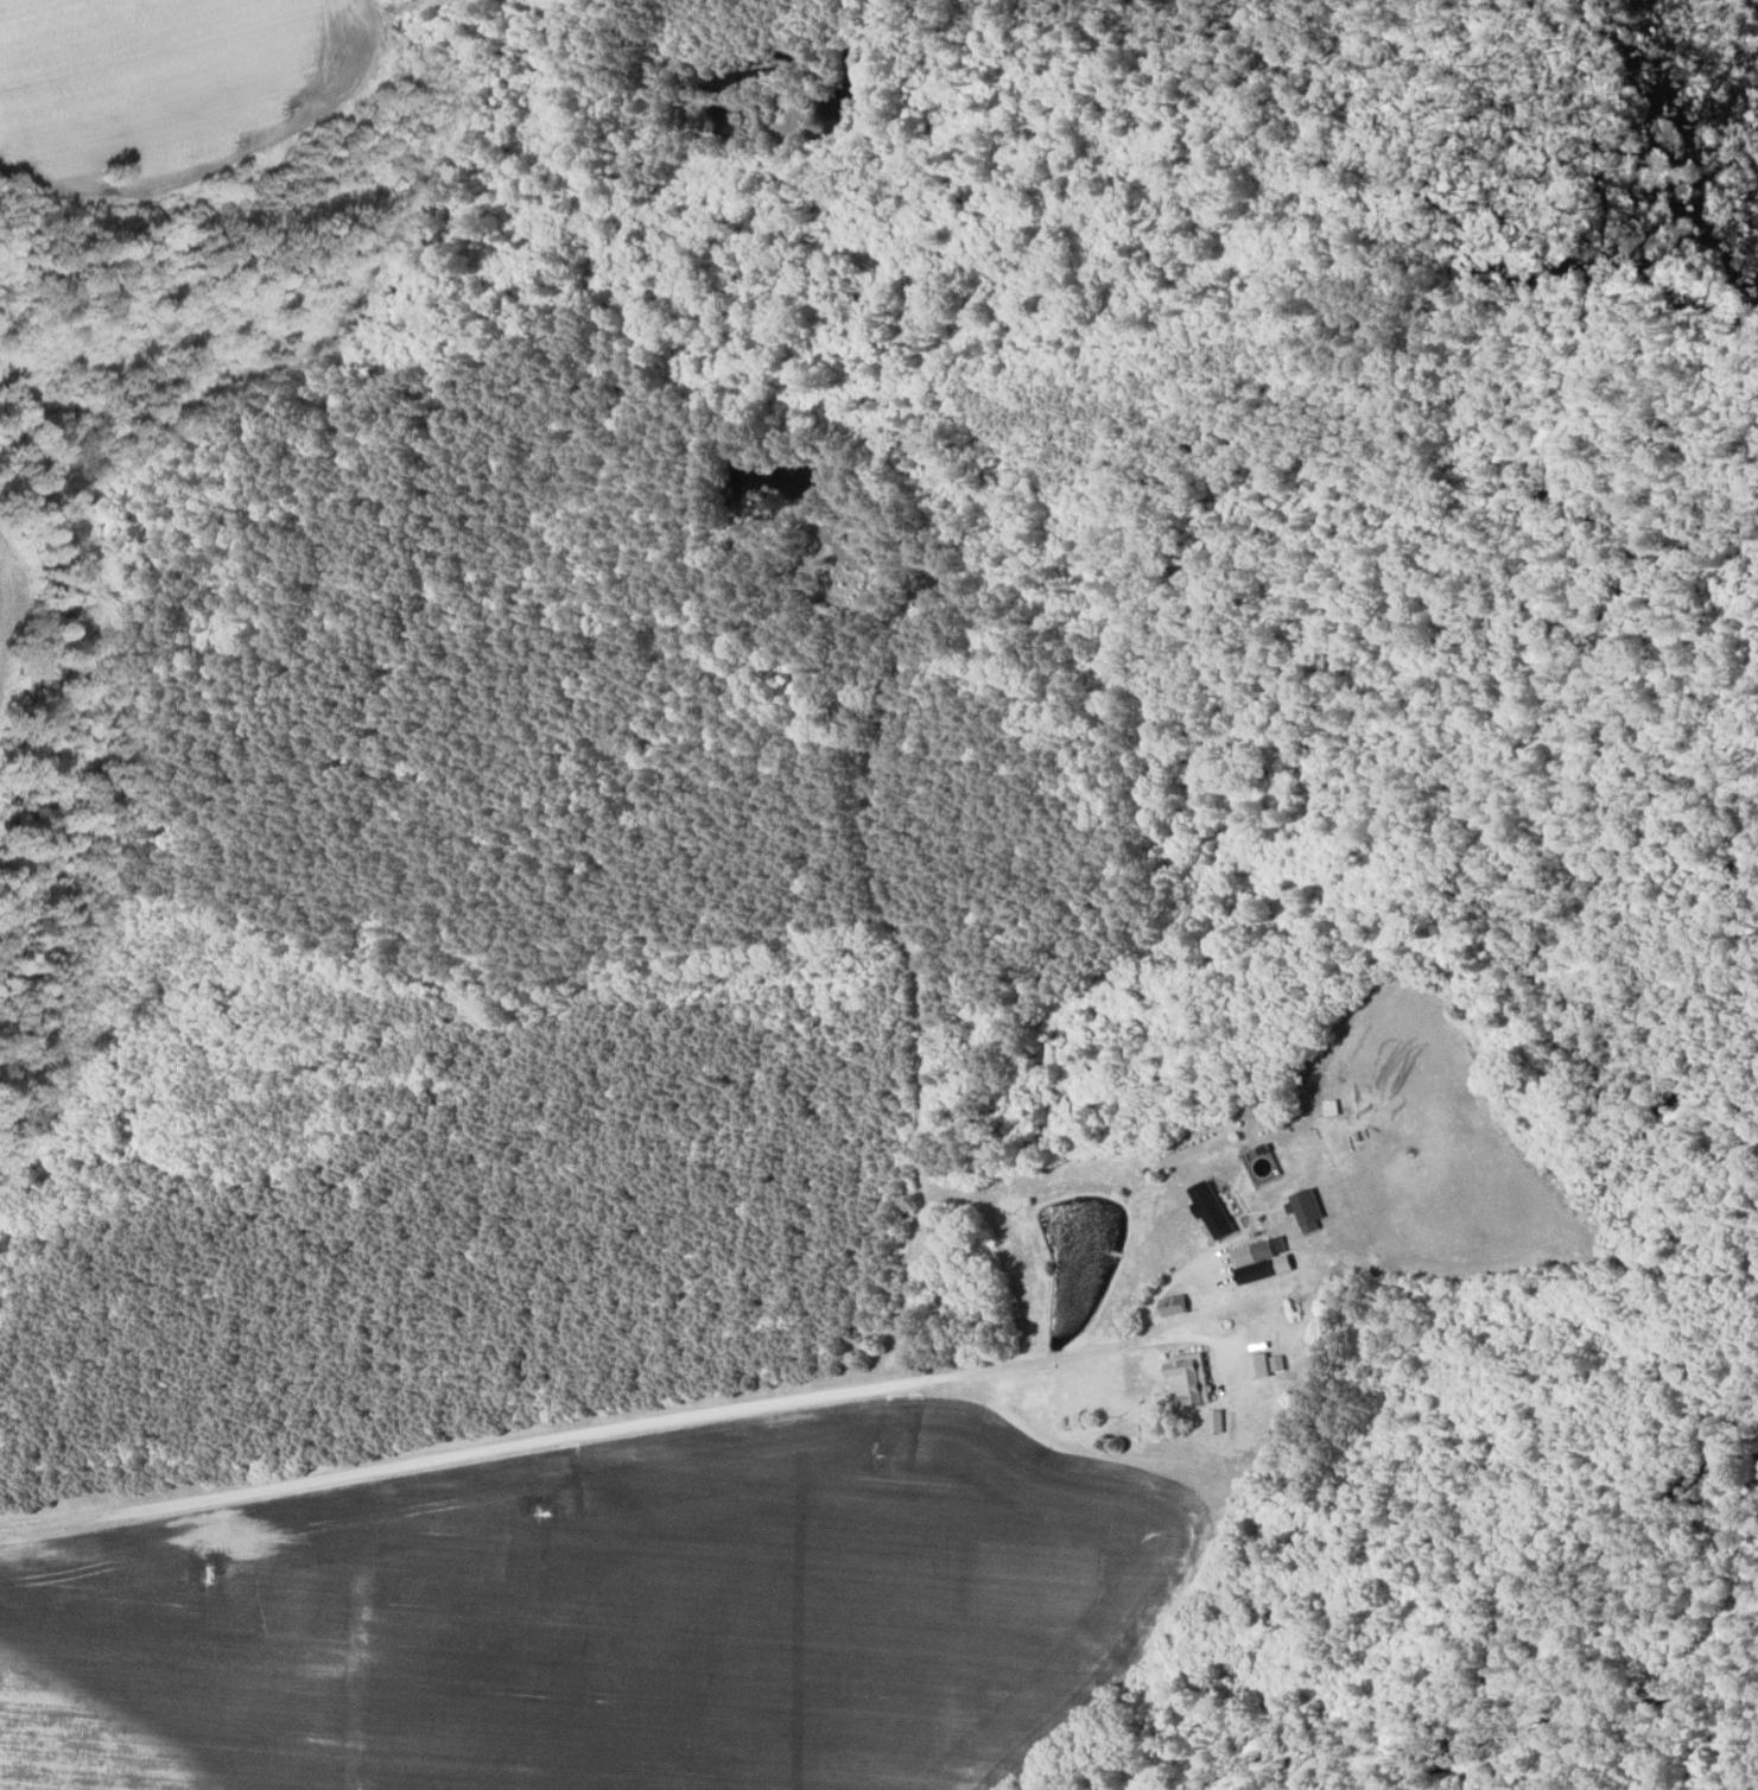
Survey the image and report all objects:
road: (690, 7)
road: (372, 18)
building: (1208, 1208)
building: (1305, 1210)
building: (1252, 1261)
building: (1172, 1306)
building: (1263, 1364)
building: (1185, 1380)
road: (609, 1427)

